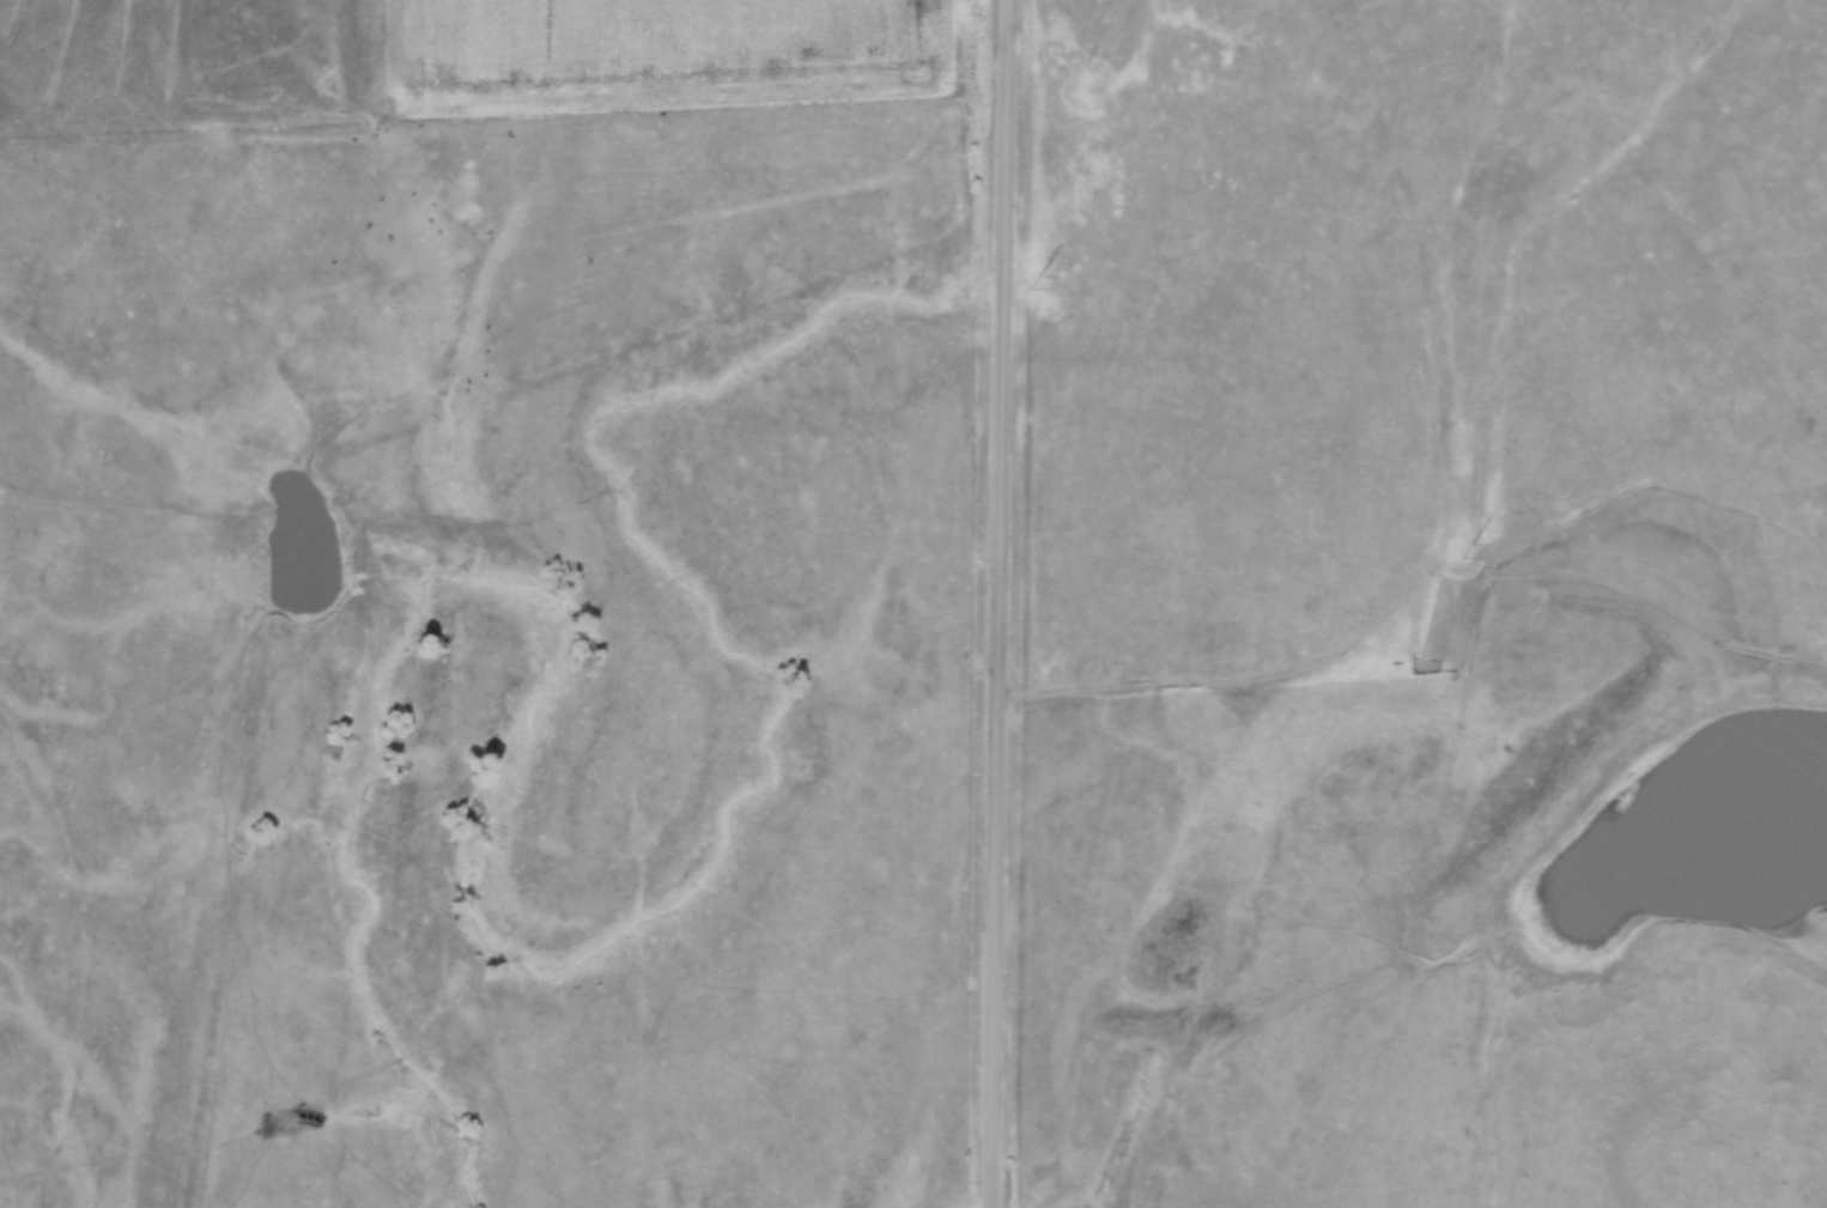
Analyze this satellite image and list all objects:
crop: (656, 51)
power tower: (1034, 283)
power tower: (1467, 552)
road: (995, 603)

